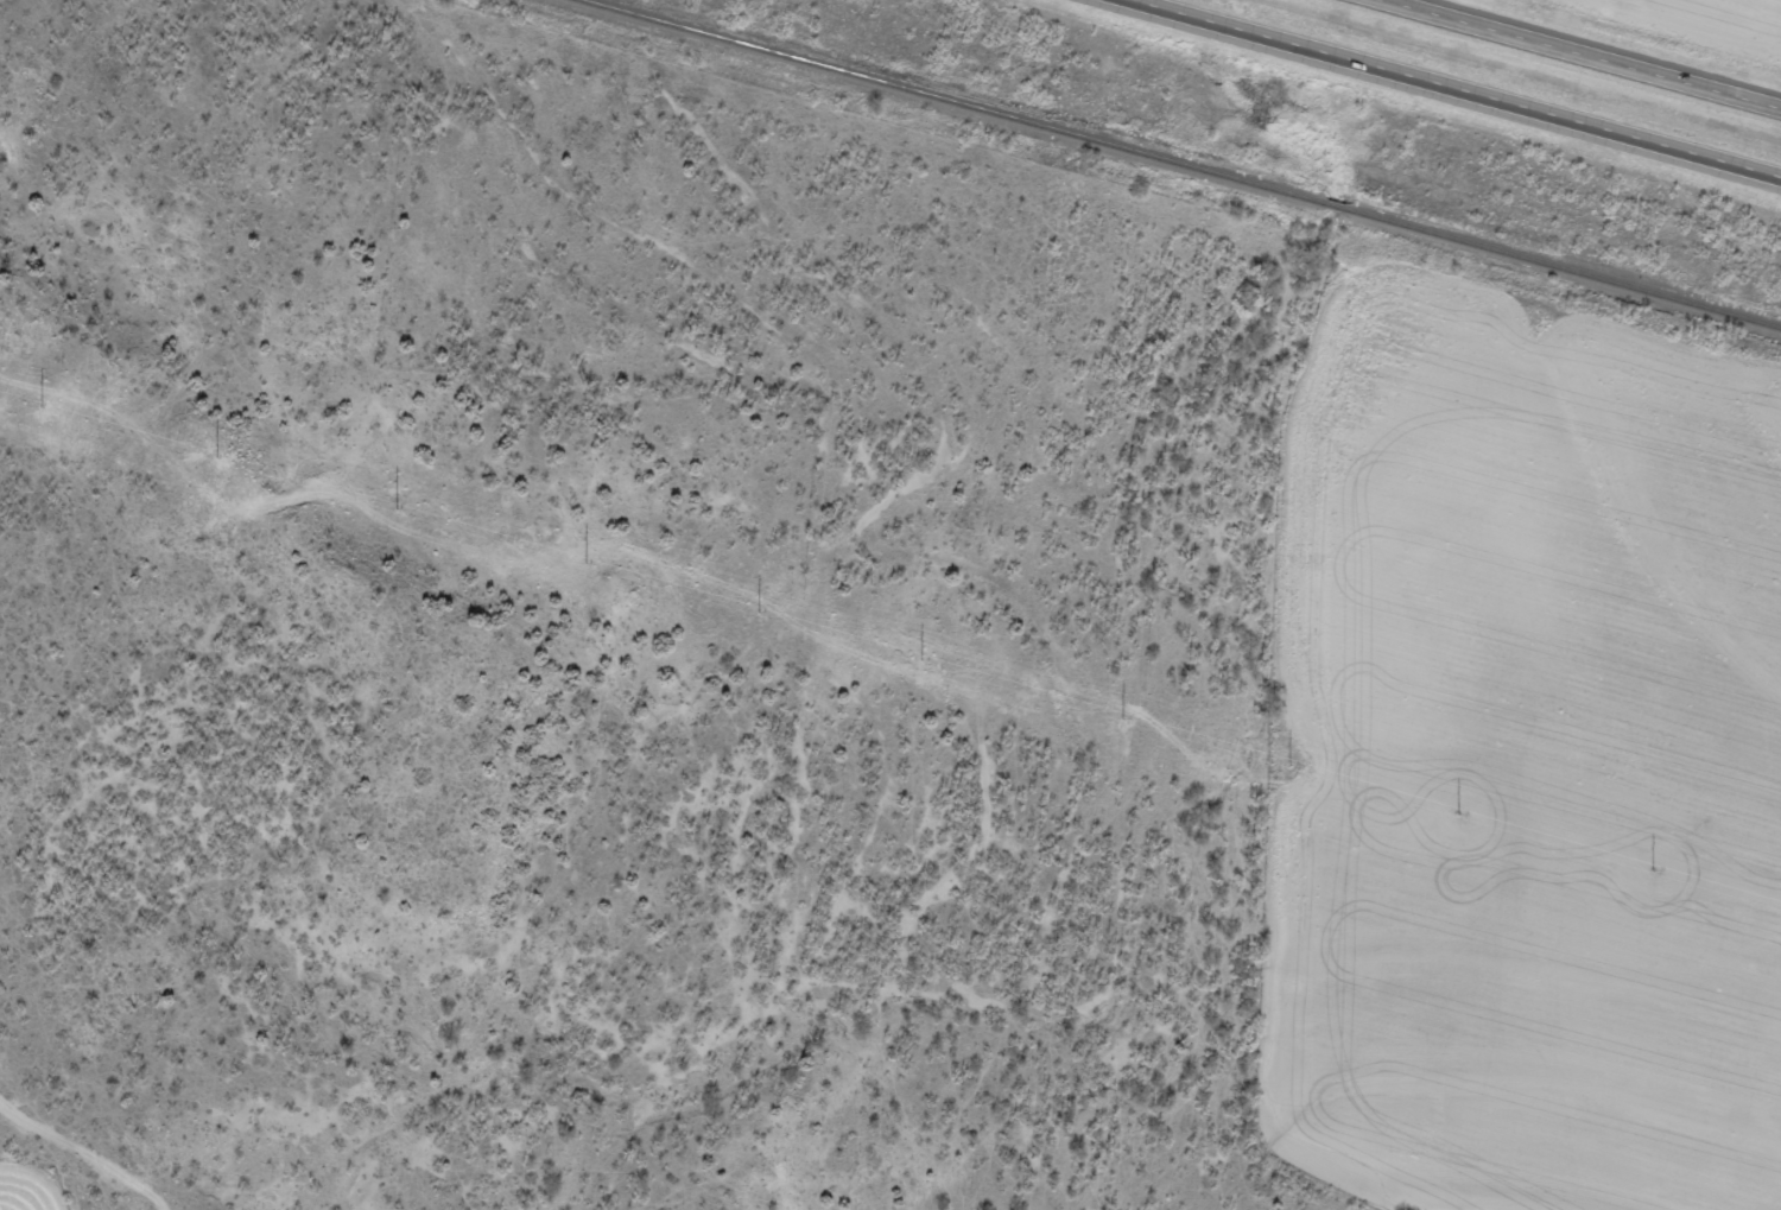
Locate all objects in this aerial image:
road: (1605, 47)
road: (1462, 88)
railway: (1174, 159)
road: (87, 1149)

